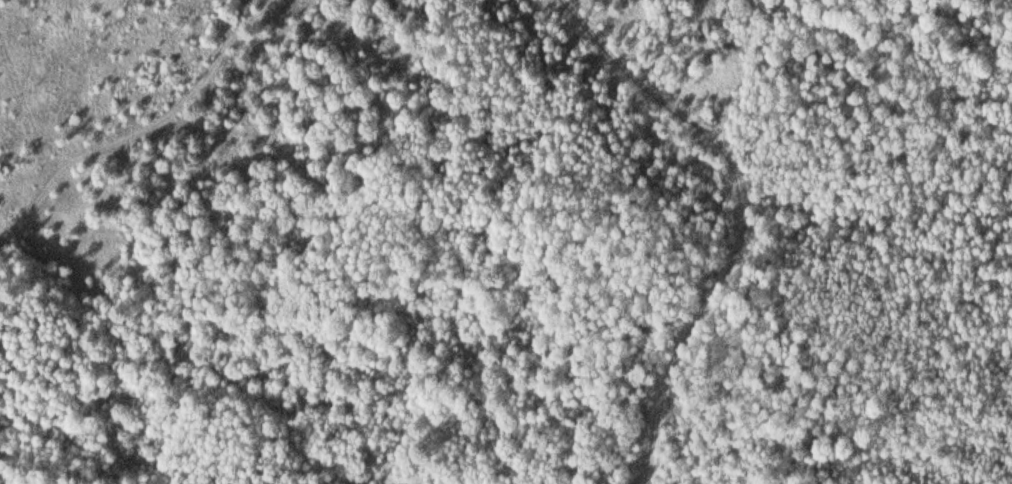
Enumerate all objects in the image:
road: (739, 212)

